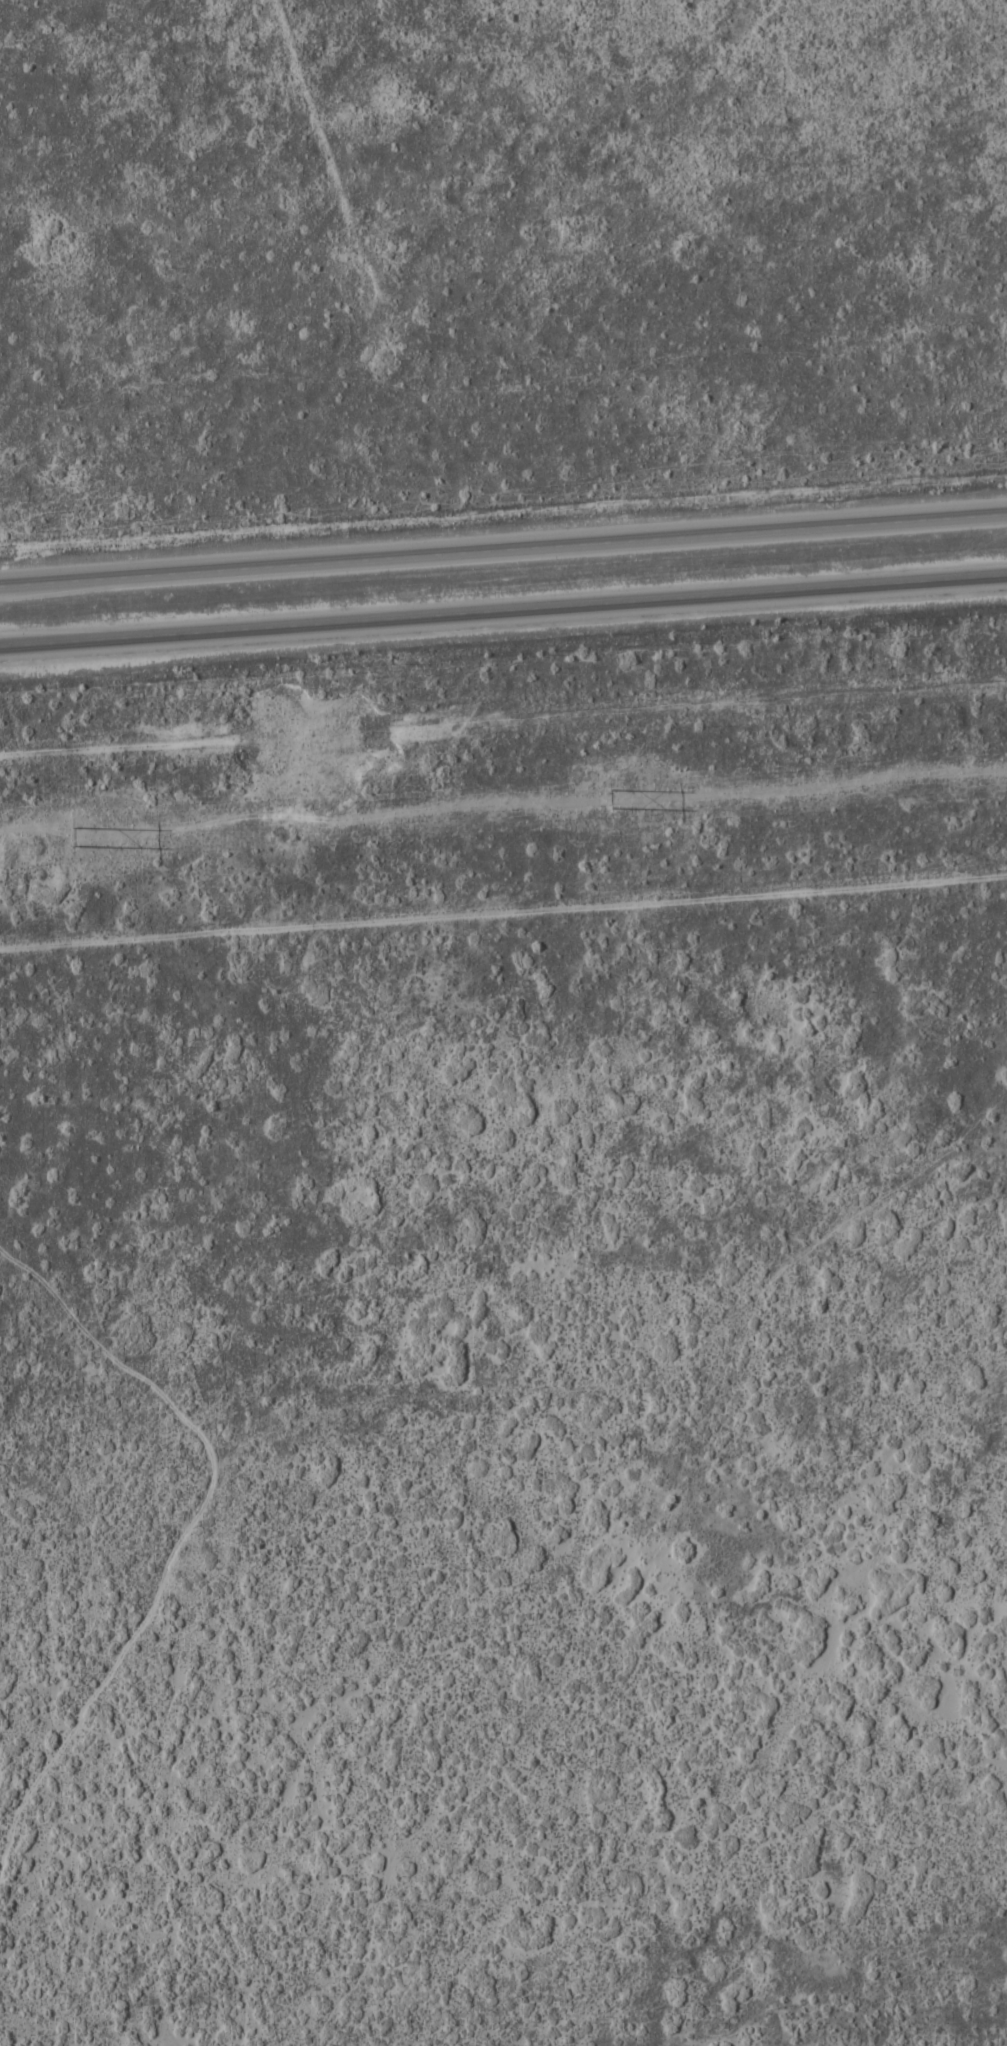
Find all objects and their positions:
road: (503, 548)
road: (503, 609)
power tower: (607, 800)
power tower: (106, 841)
road: (219, 1605)

